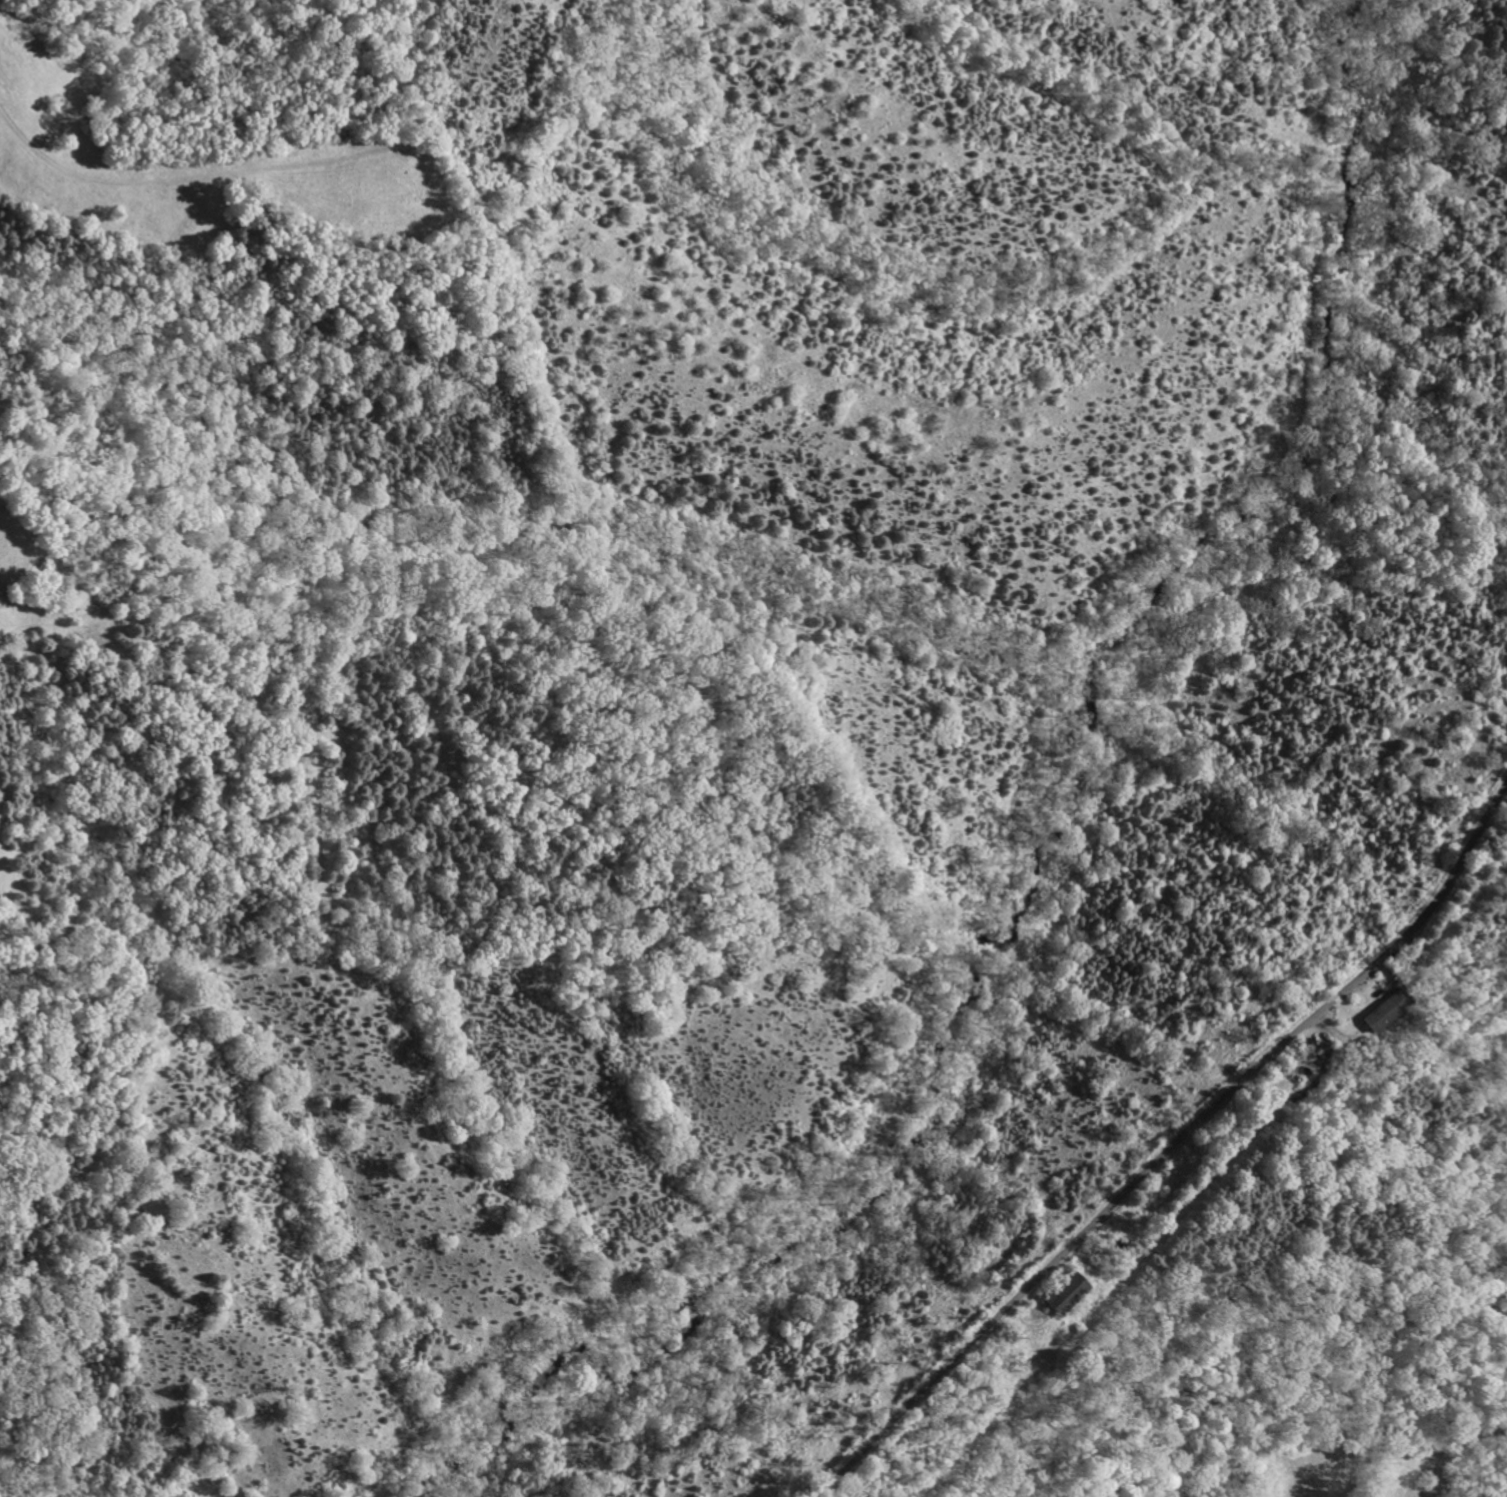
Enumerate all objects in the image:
building: (1382, 1010)
road: (1175, 1148)
building: (1065, 1293)

